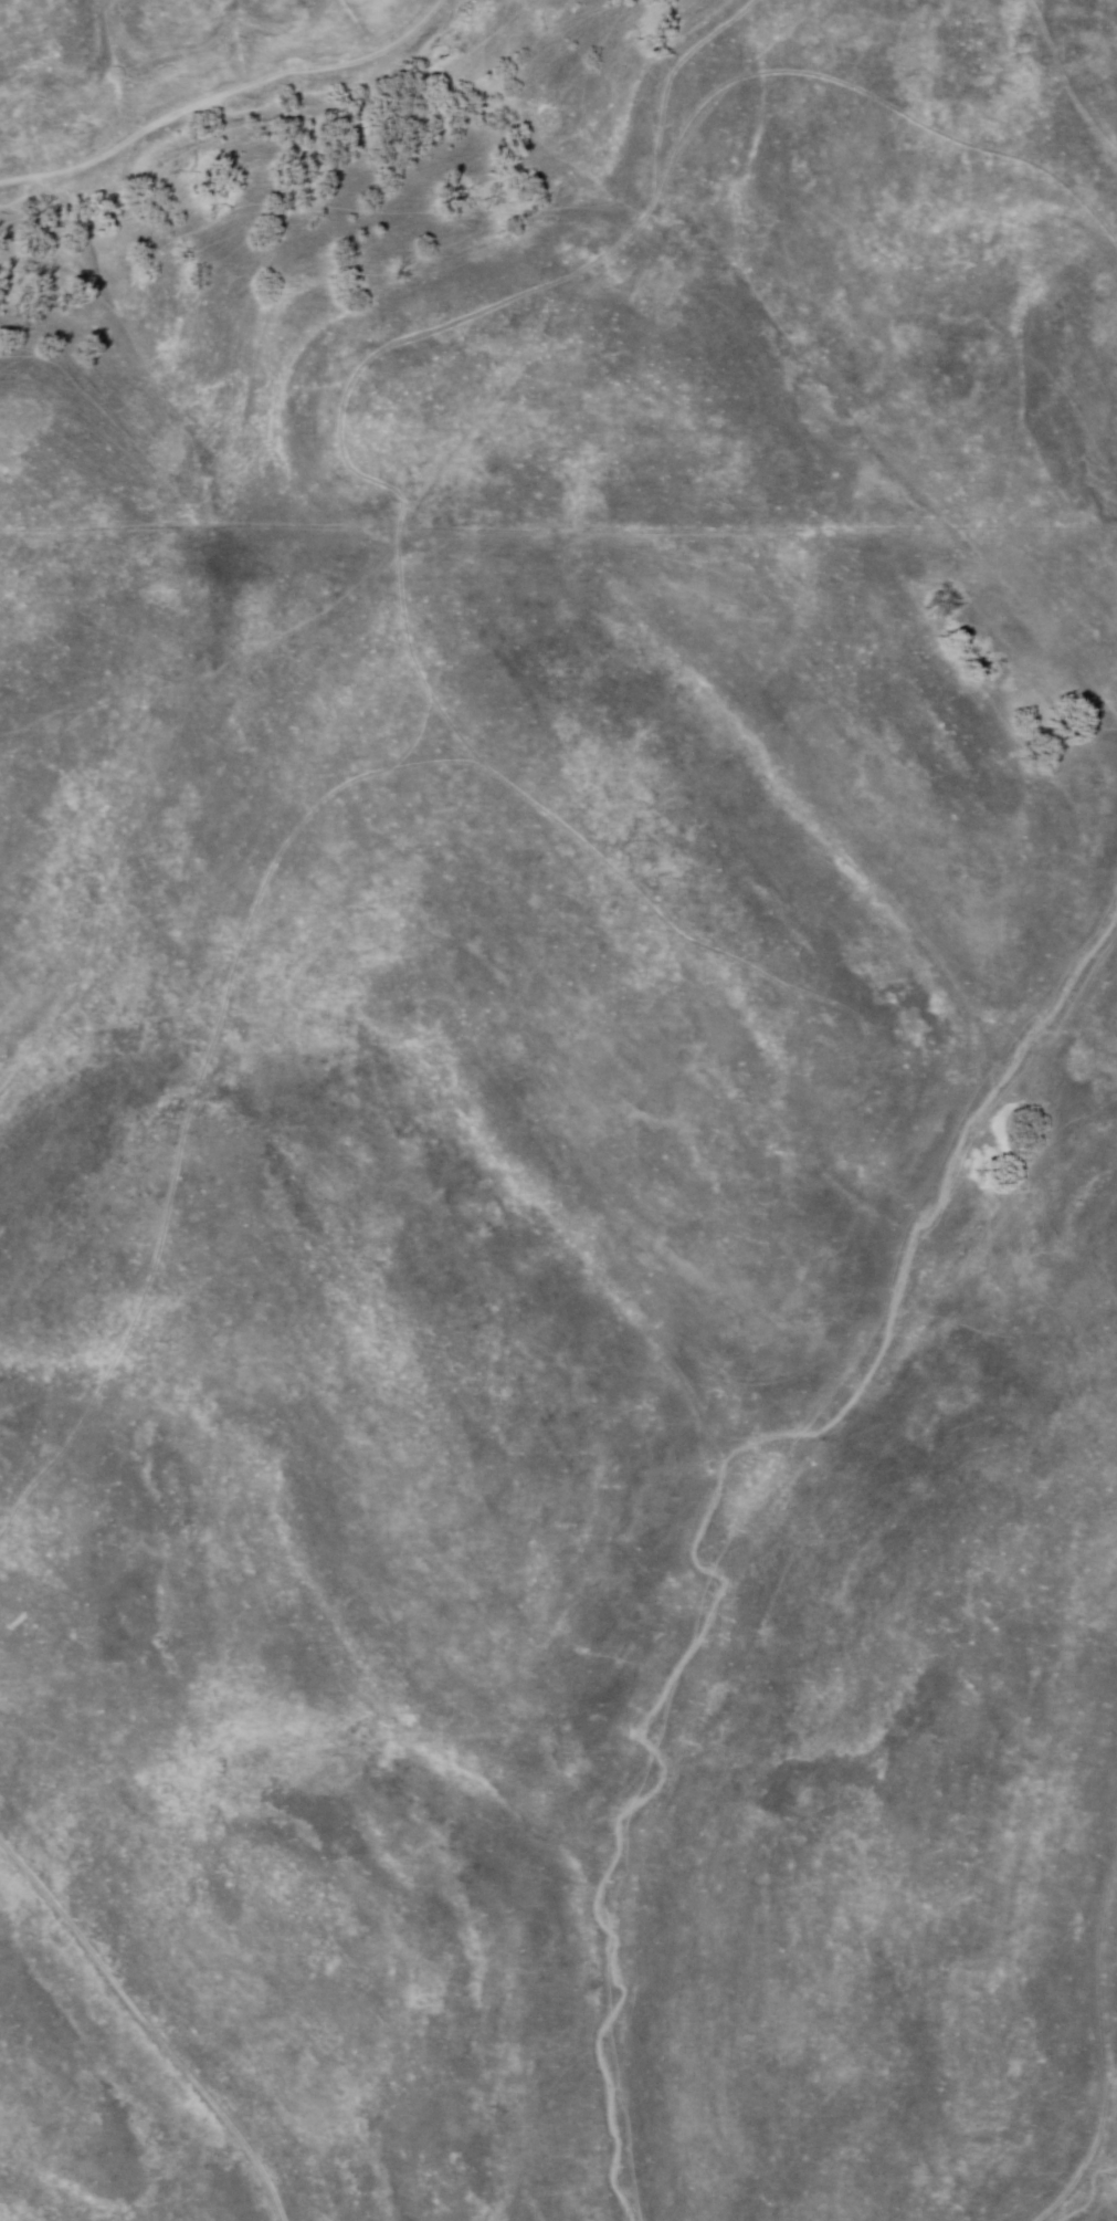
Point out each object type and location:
road: (220, 92)

